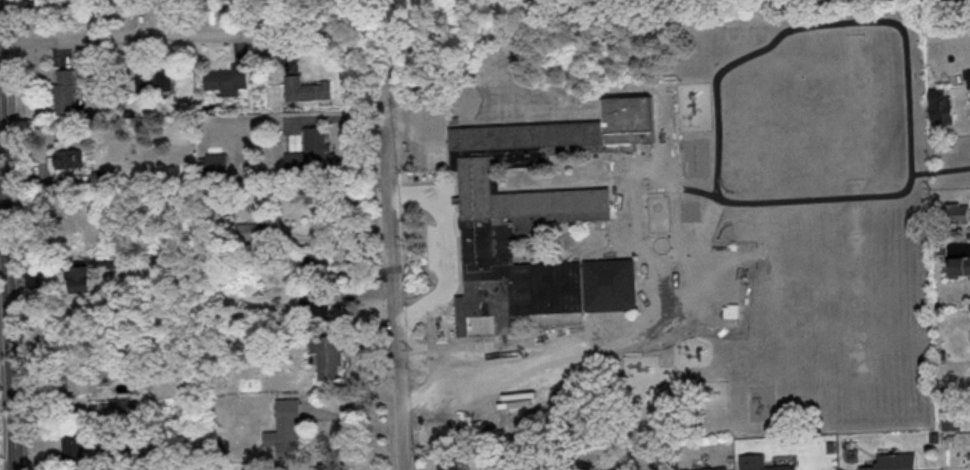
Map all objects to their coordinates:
road: (128, 37)
building: (967, 78)
building: (226, 79)
building: (154, 80)
building: (304, 89)
building: (63, 90)
building: (938, 107)
road: (672, 134)
building: (311, 151)
building: (68, 158)
building: (215, 162)
road: (940, 170)
road: (610, 182)
road: (650, 193)
building: (307, 194)
road: (742, 202)
building: (956, 212)
building: (538, 217)
road: (444, 250)
building: (317, 258)
road: (3, 262)
building: (960, 266)
building: (77, 278)
road: (7, 289)
road: (392, 292)
building: (314, 304)
road: (604, 334)
road: (5, 348)
road: (584, 349)
building: (328, 354)
building: (80, 382)
road: (409, 399)
building: (122, 405)
building: (950, 421)
building: (285, 428)
road: (435, 438)
building: (72, 447)
building: (892, 462)
building: (449, 463)
building: (760, 463)
building: (334, 466)
building: (706, 468)

